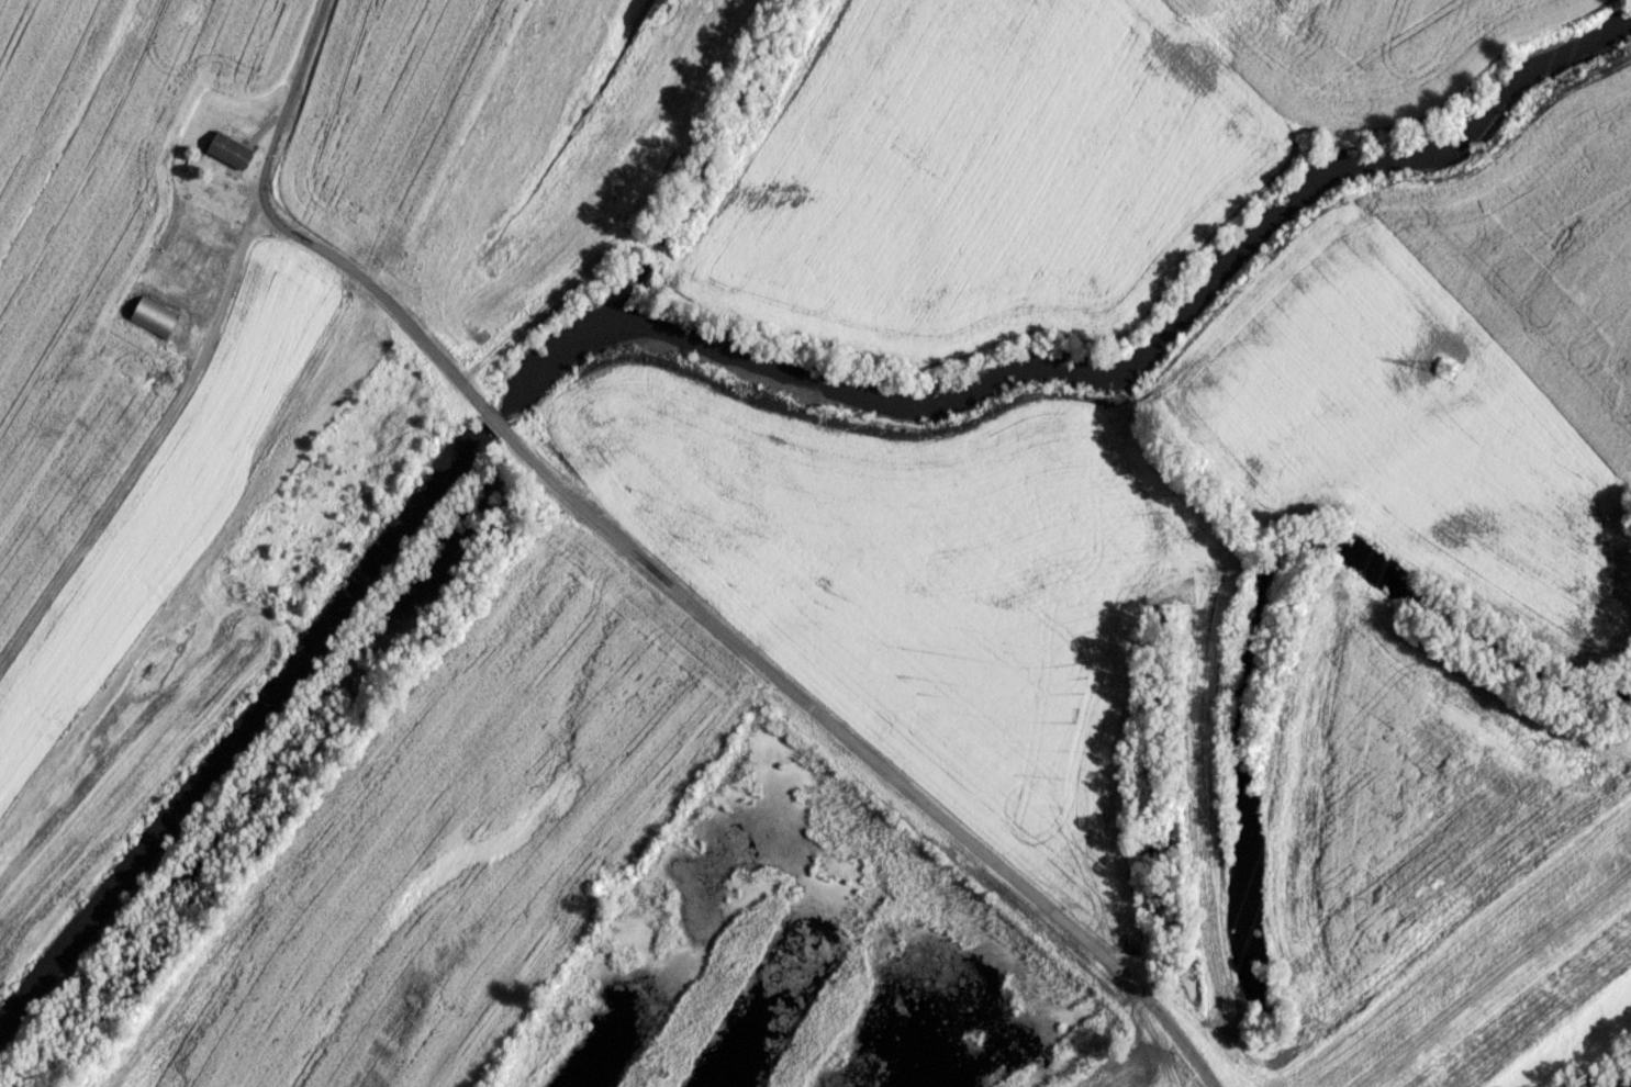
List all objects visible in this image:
building: (228, 148)
building: (153, 314)
power tower: (1443, 366)
road: (659, 574)

